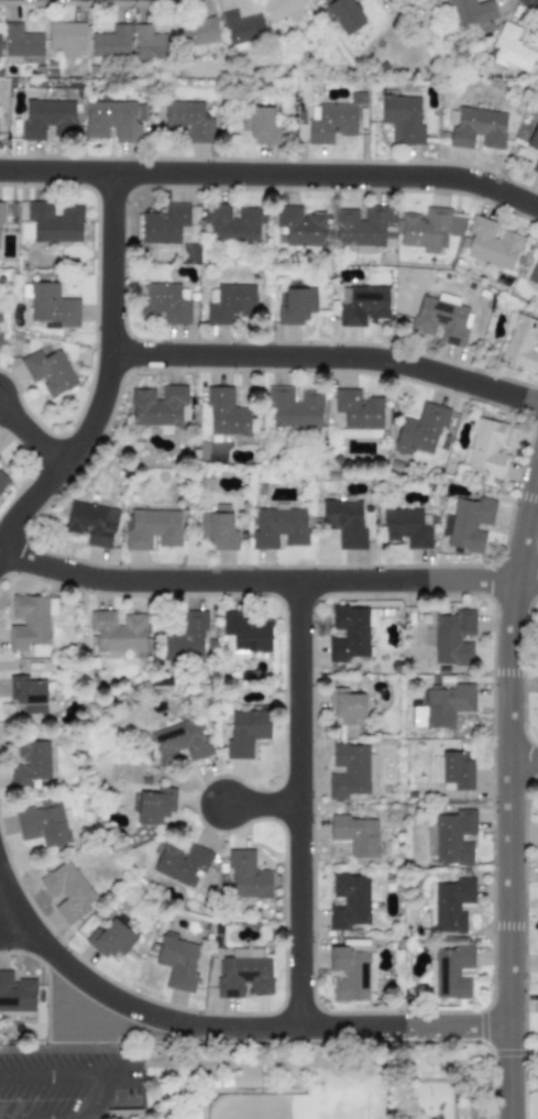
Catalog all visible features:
building: (283, 9)
building: (470, 11)
building: (343, 14)
building: (241, 26)
building: (197, 32)
building: (66, 37)
building: (110, 41)
building: (151, 42)
building: (21, 45)
building: (510, 48)
building: (402, 118)
building: (47, 119)
building: (332, 119)
building: (113, 120)
building: (187, 120)
building: (259, 124)
building: (475, 128)
building: (532, 138)
building: (535, 165)
road: (272, 173)
building: (1, 210)
building: (54, 222)
building: (232, 222)
building: (164, 223)
building: (455, 224)
building: (299, 226)
building: (363, 228)
building: (425, 229)
building: (24, 230)
building: (491, 243)
building: (534, 272)
building: (165, 301)
building: (228, 301)
building: (50, 304)
building: (296, 305)
building: (363, 305)
building: (441, 319)
building: (0, 329)
building: (521, 342)
road: (326, 356)
building: (48, 371)
road: (106, 373)
building: (157, 407)
building: (294, 407)
building: (356, 408)
building: (420, 429)
building: (360, 432)
road: (30, 436)
building: (486, 446)
building: (2, 481)
building: (343, 522)
building: (90, 523)
building: (468, 524)
building: (406, 527)
building: (151, 528)
building: (218, 528)
building: (279, 528)
road: (267, 580)
building: (30, 621)
building: (118, 630)
building: (248, 632)
building: (348, 634)
building: (184, 636)
building: (452, 637)
building: (28, 694)
building: (347, 706)
building: (245, 731)
building: (179, 742)
road: (523, 760)
building: (30, 763)
building: (452, 769)
building: (348, 770)
road: (508, 792)
road: (261, 803)
road: (298, 803)
building: (154, 804)
building: (42, 823)
building: (355, 834)
building: (451, 836)
building: (180, 863)
building: (246, 875)
building: (66, 890)
building: (348, 901)
building: (452, 904)
road: (9, 917)
building: (110, 939)
building: (177, 963)
building: (349, 970)
building: (450, 972)
building: (243, 973)
building: (15, 992)
road: (223, 1028)
road: (55, 1075)
park: (347, 1083)
road: (90, 1113)
building: (123, 1113)

